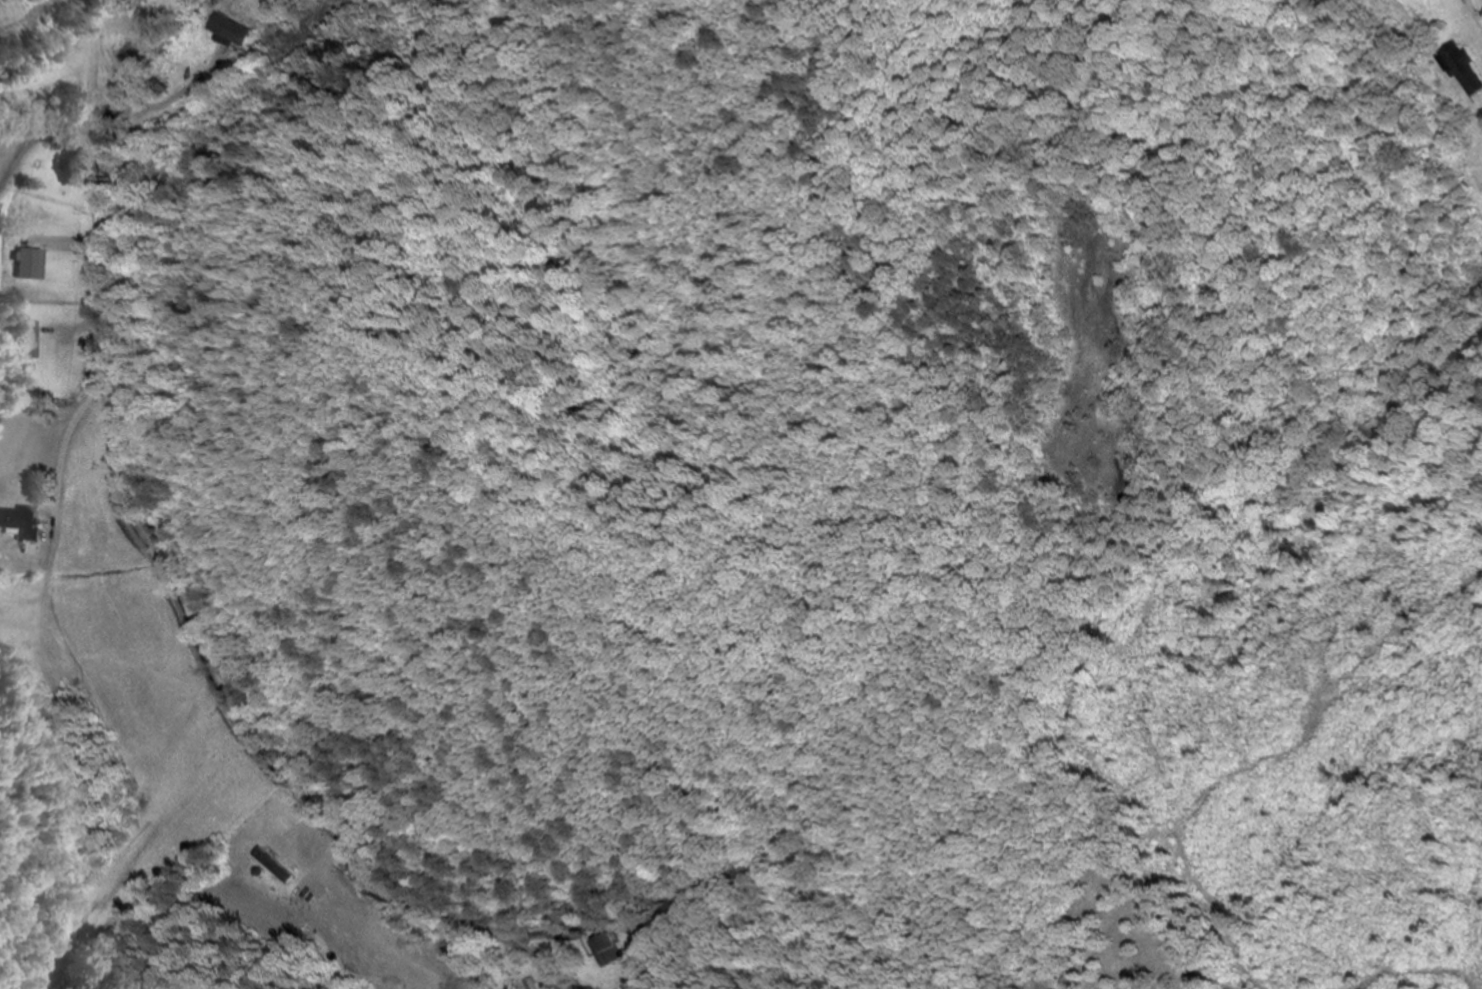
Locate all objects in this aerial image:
building: (432, 3)
road: (1474, 13)
building: (226, 29)
building: (1464, 73)
road: (45, 84)
building: (27, 341)
building: (14, 446)
building: (22, 524)
road: (160, 574)
road: (46, 618)
building: (636, 945)
building: (603, 950)

